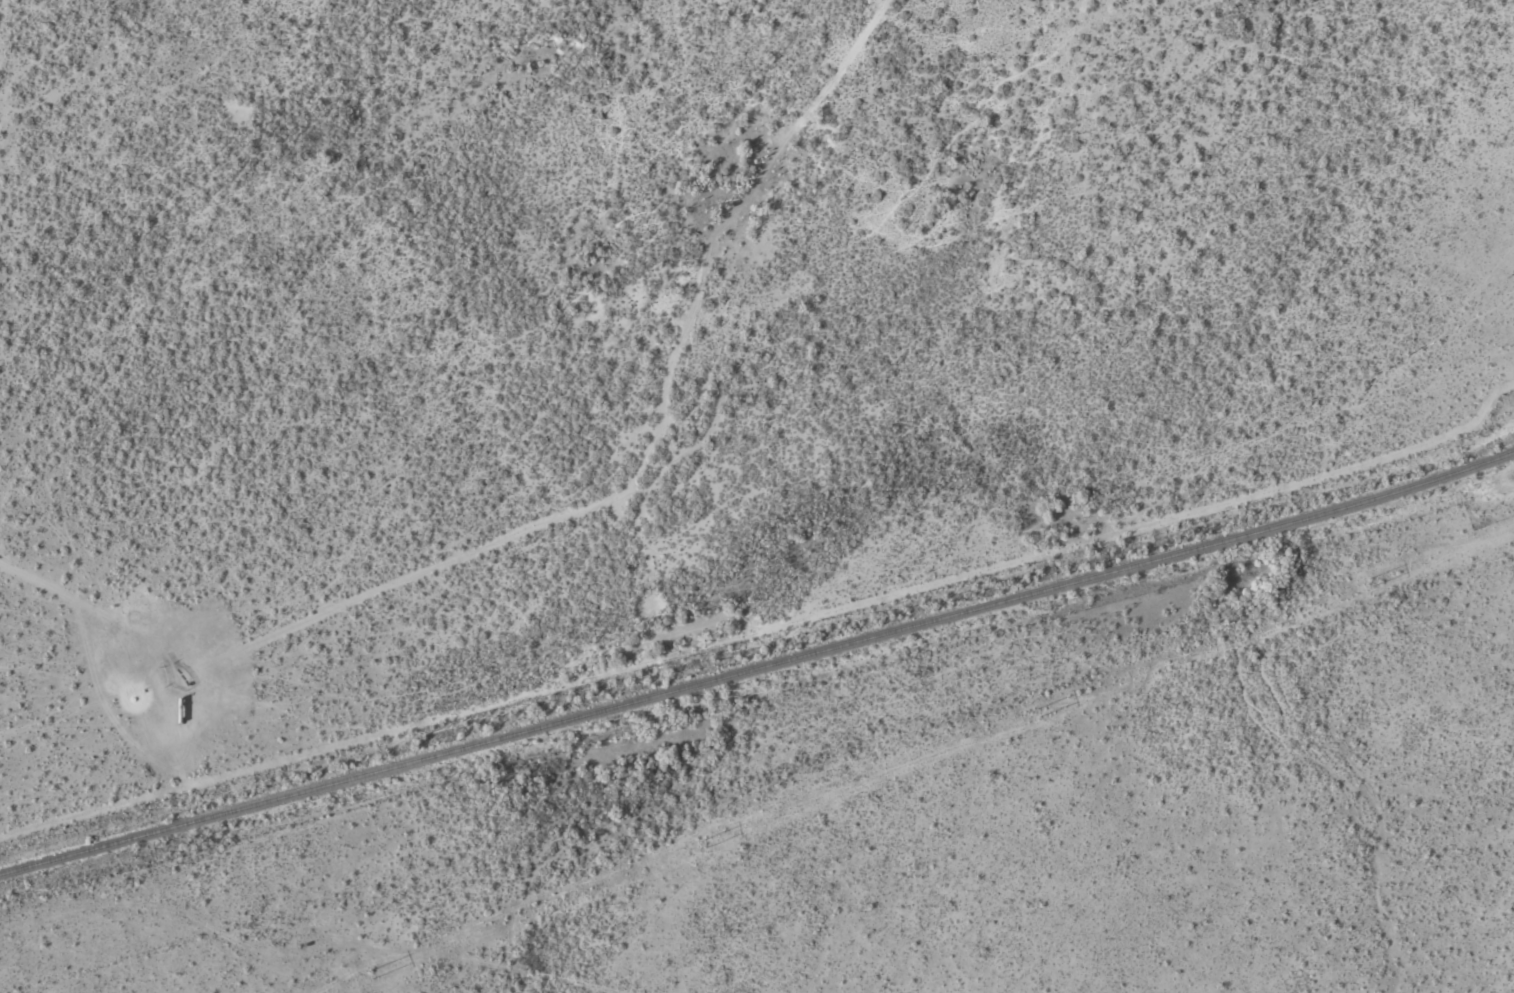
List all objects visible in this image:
power tower: (1370, 582)
railway: (758, 666)
power tower: (1038, 713)
power tower: (704, 843)
road: (297, 948)
power tower: (372, 974)

